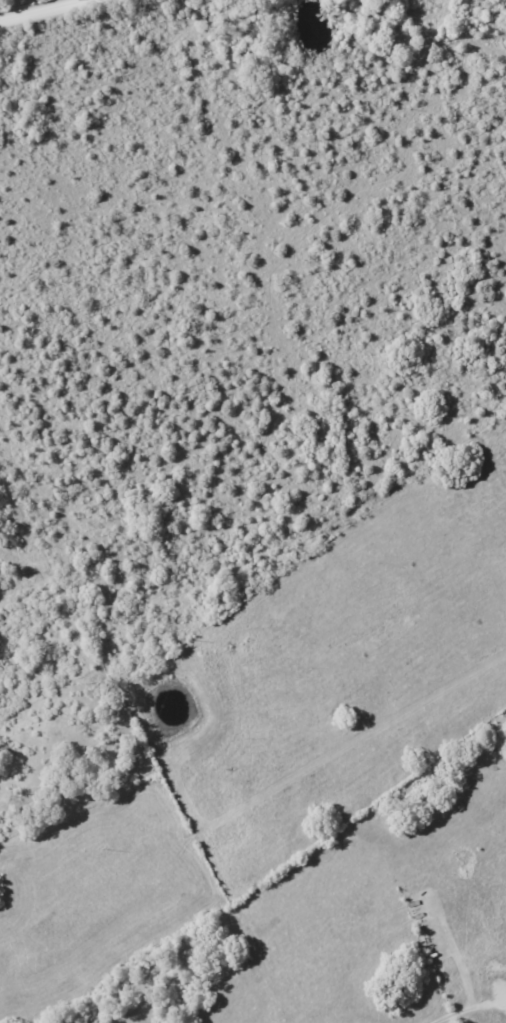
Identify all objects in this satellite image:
road: (47, 11)

